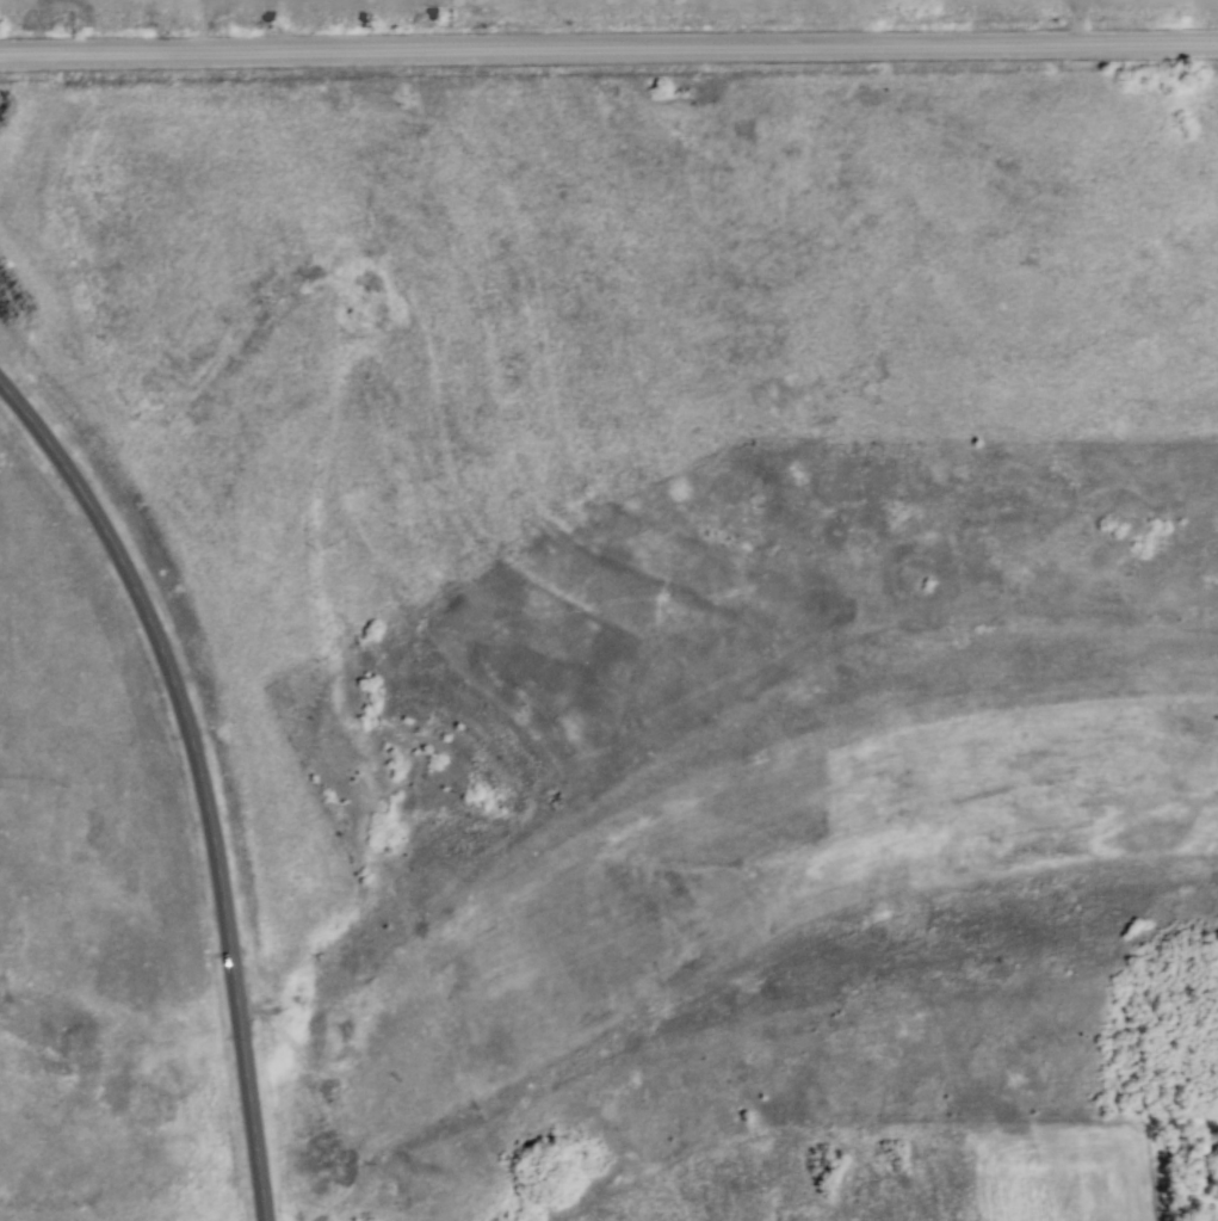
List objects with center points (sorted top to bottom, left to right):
road: (608, 50)
road: (202, 777)
park: (24, 1220)

